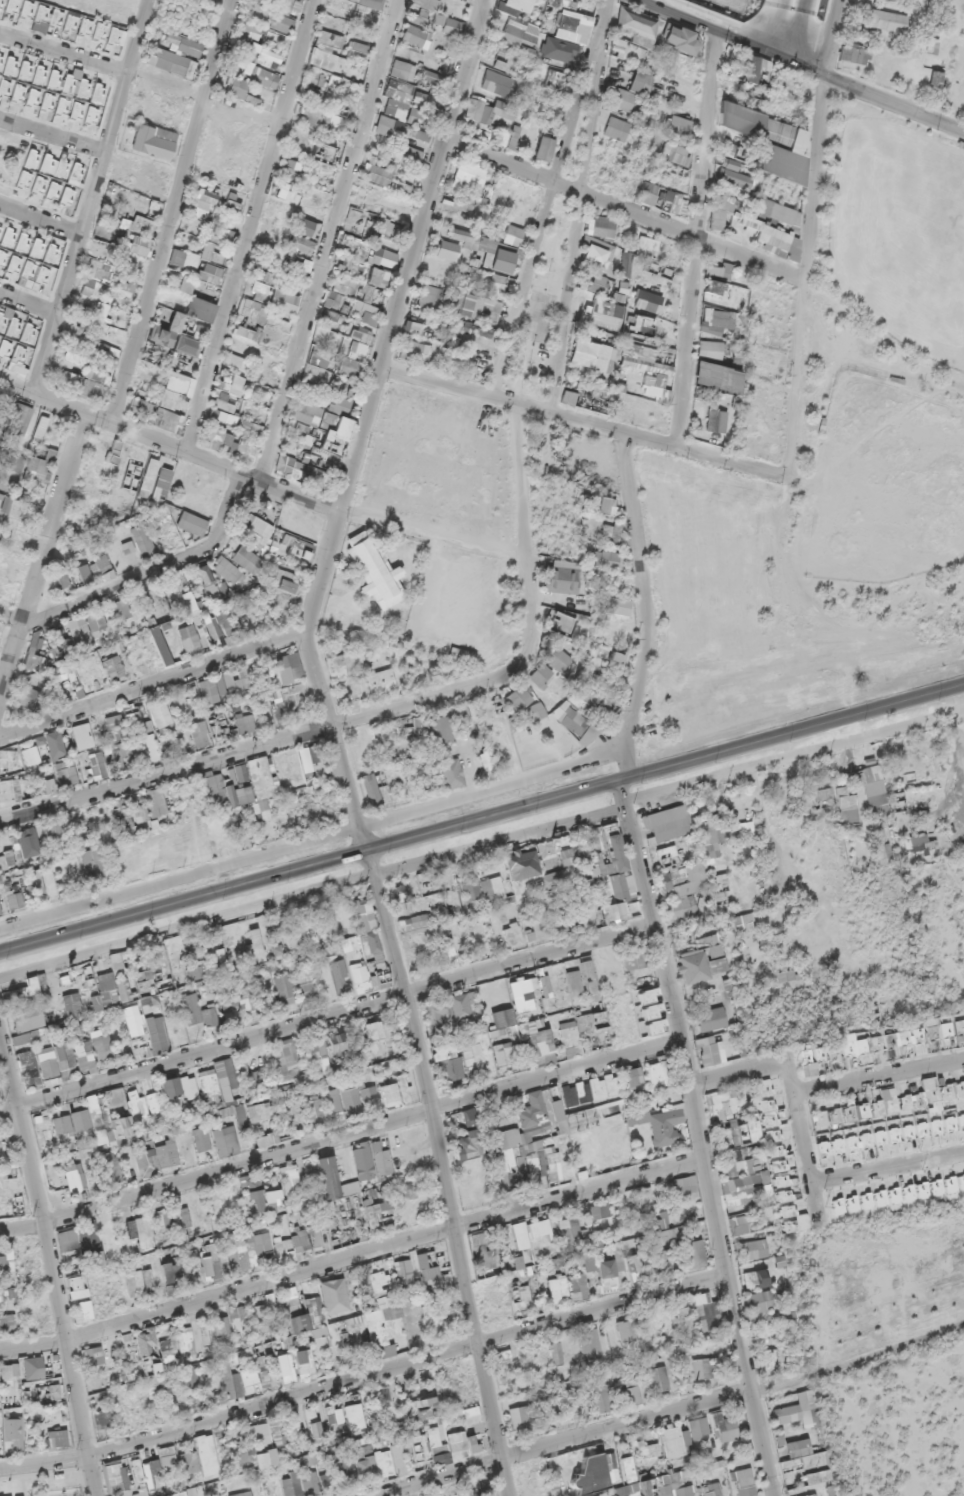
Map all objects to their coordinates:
road: (481, 816)

